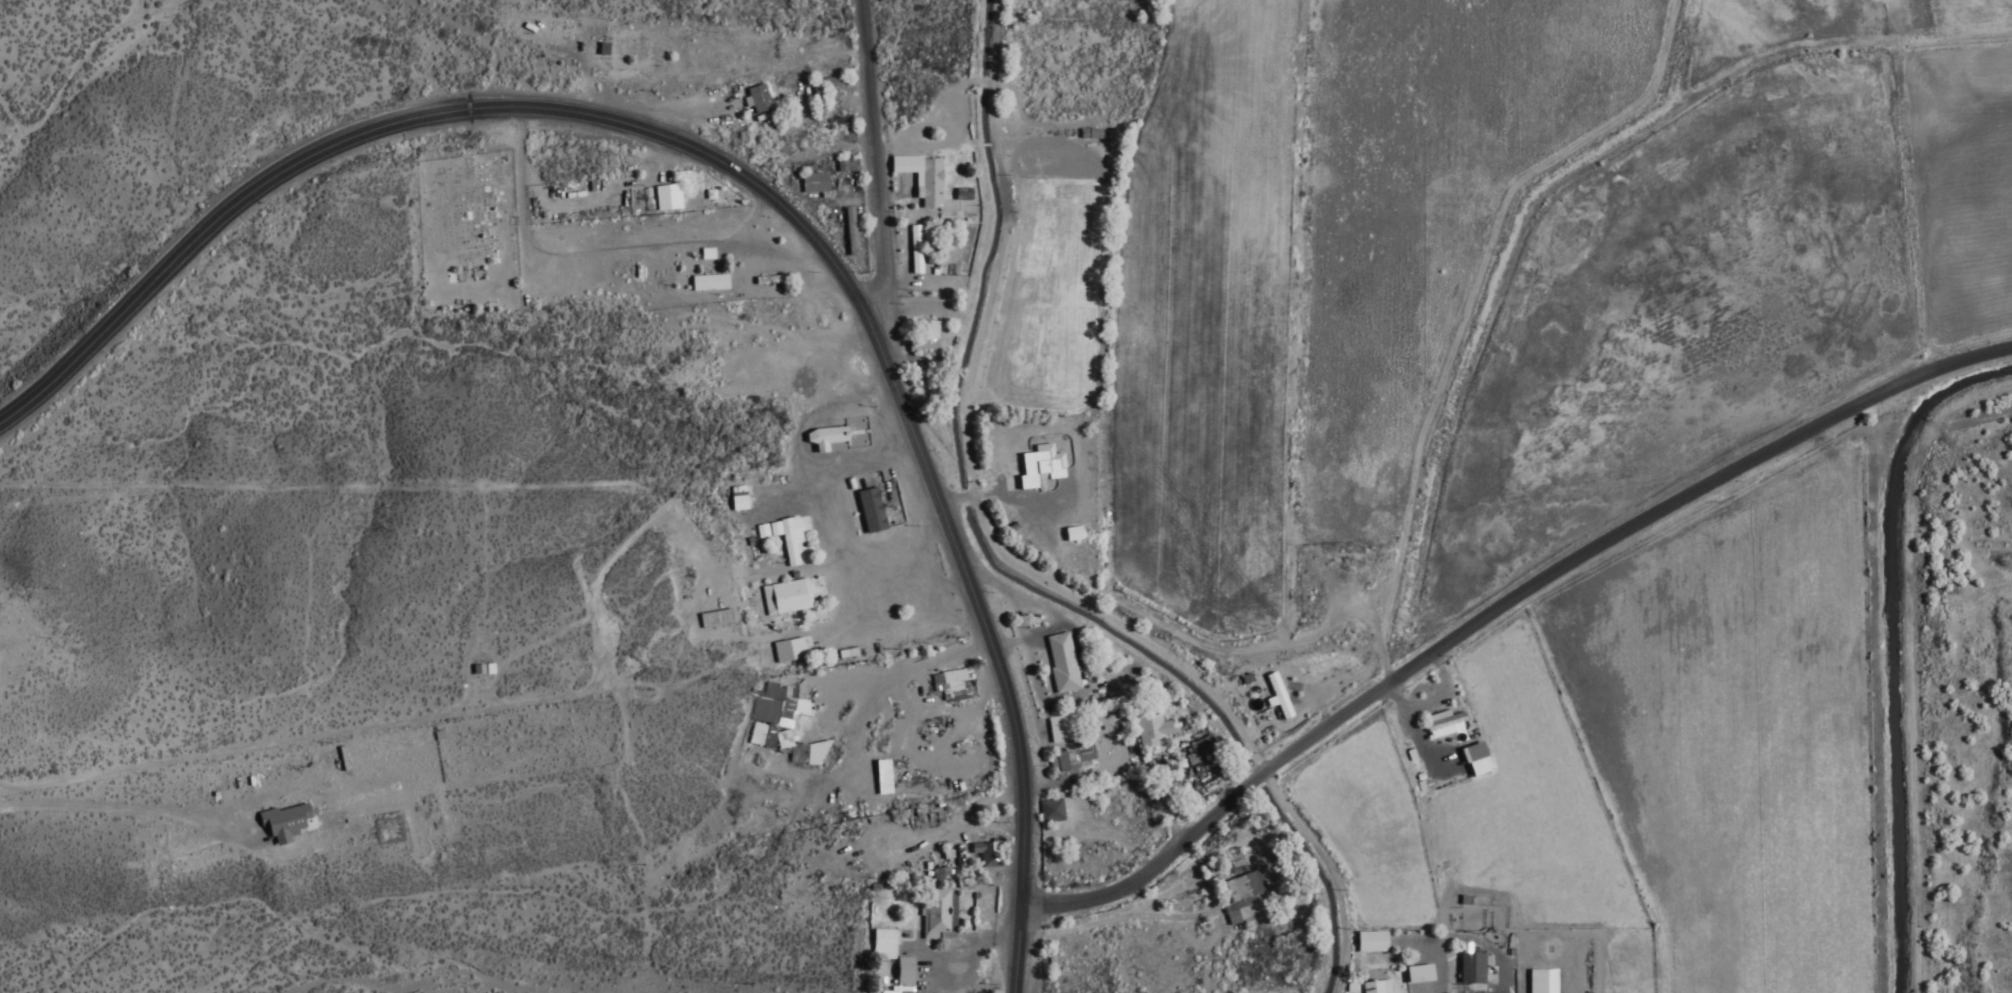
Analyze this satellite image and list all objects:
road: (484, 54)
building: (621, 54)
road: (914, 79)
building: (755, 100)
building: (815, 103)
building: (813, 139)
building: (810, 184)
building: (926, 185)
building: (608, 186)
road: (749, 189)
road: (868, 189)
building: (663, 199)
park: (466, 236)
building: (912, 241)
building: (706, 284)
building: (921, 340)
building: (821, 439)
building: (1055, 472)
building: (866, 510)
building: (1069, 535)
building: (784, 540)
road: (997, 565)
road: (973, 570)
building: (1309, 586)
building: (783, 599)
road: (1495, 605)
building: (878, 632)
building: (790, 651)
building: (1059, 665)
building: (949, 686)
building: (766, 709)
building: (1281, 710)
building: (1444, 726)
building: (1056, 731)
building: (1149, 732)
building: (1198, 753)
building: (803, 756)
building: (1072, 761)
building: (1472, 762)
building: (1048, 813)
building: (279, 825)
building: (984, 854)
building: (1239, 895)
building: (934, 915)
building: (1367, 944)
building: (889, 957)
building: (1468, 970)
building: (1415, 976)
building: (1546, 982)
building: (1374, 988)

